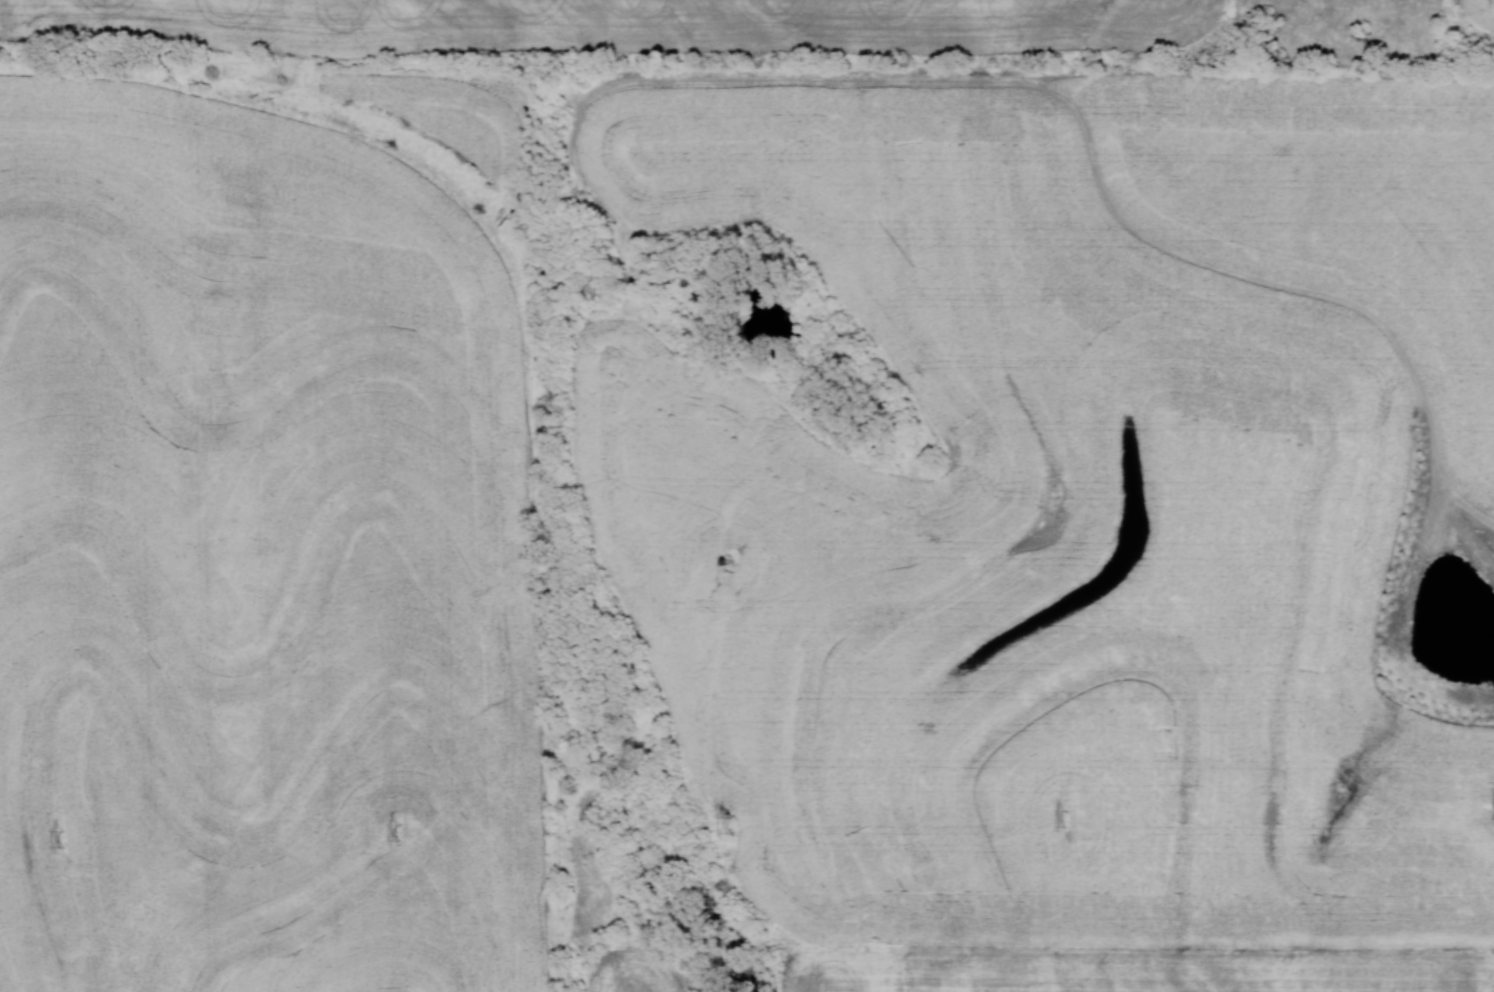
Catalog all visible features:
power tower: (1066, 820)
power tower: (732, 826)
power tower: (399, 833)
power tower: (63, 839)

